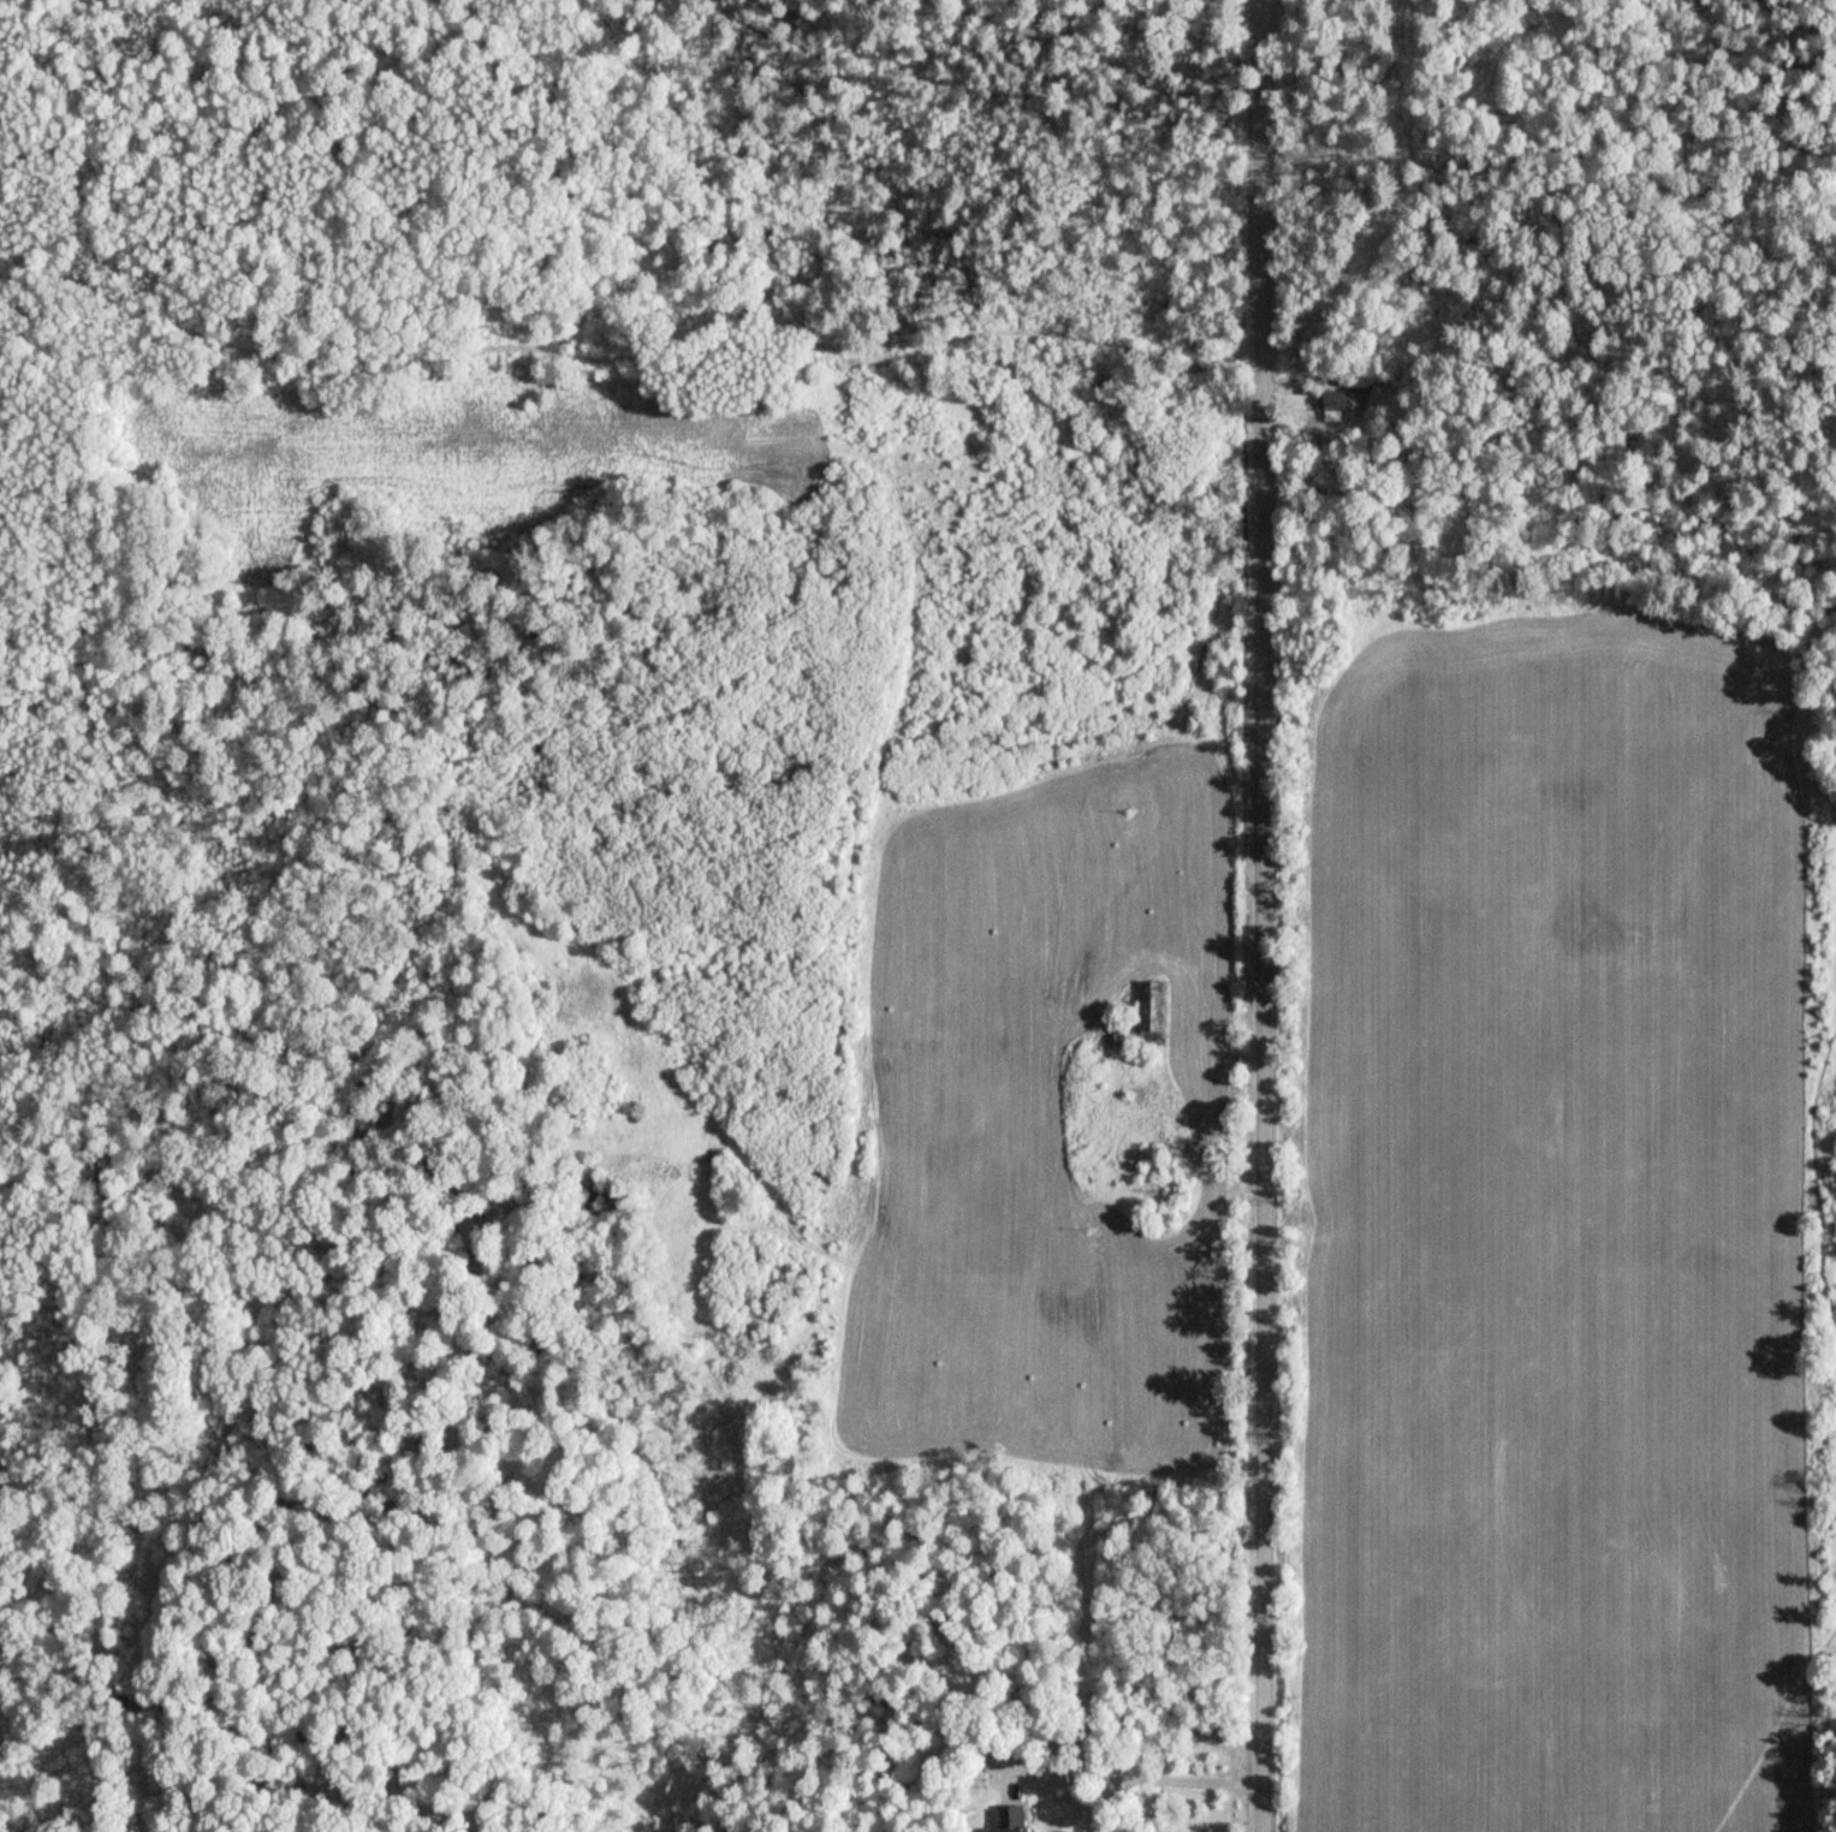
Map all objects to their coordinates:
building: (1341, 404)
road: (1267, 916)
building: (1152, 1016)

